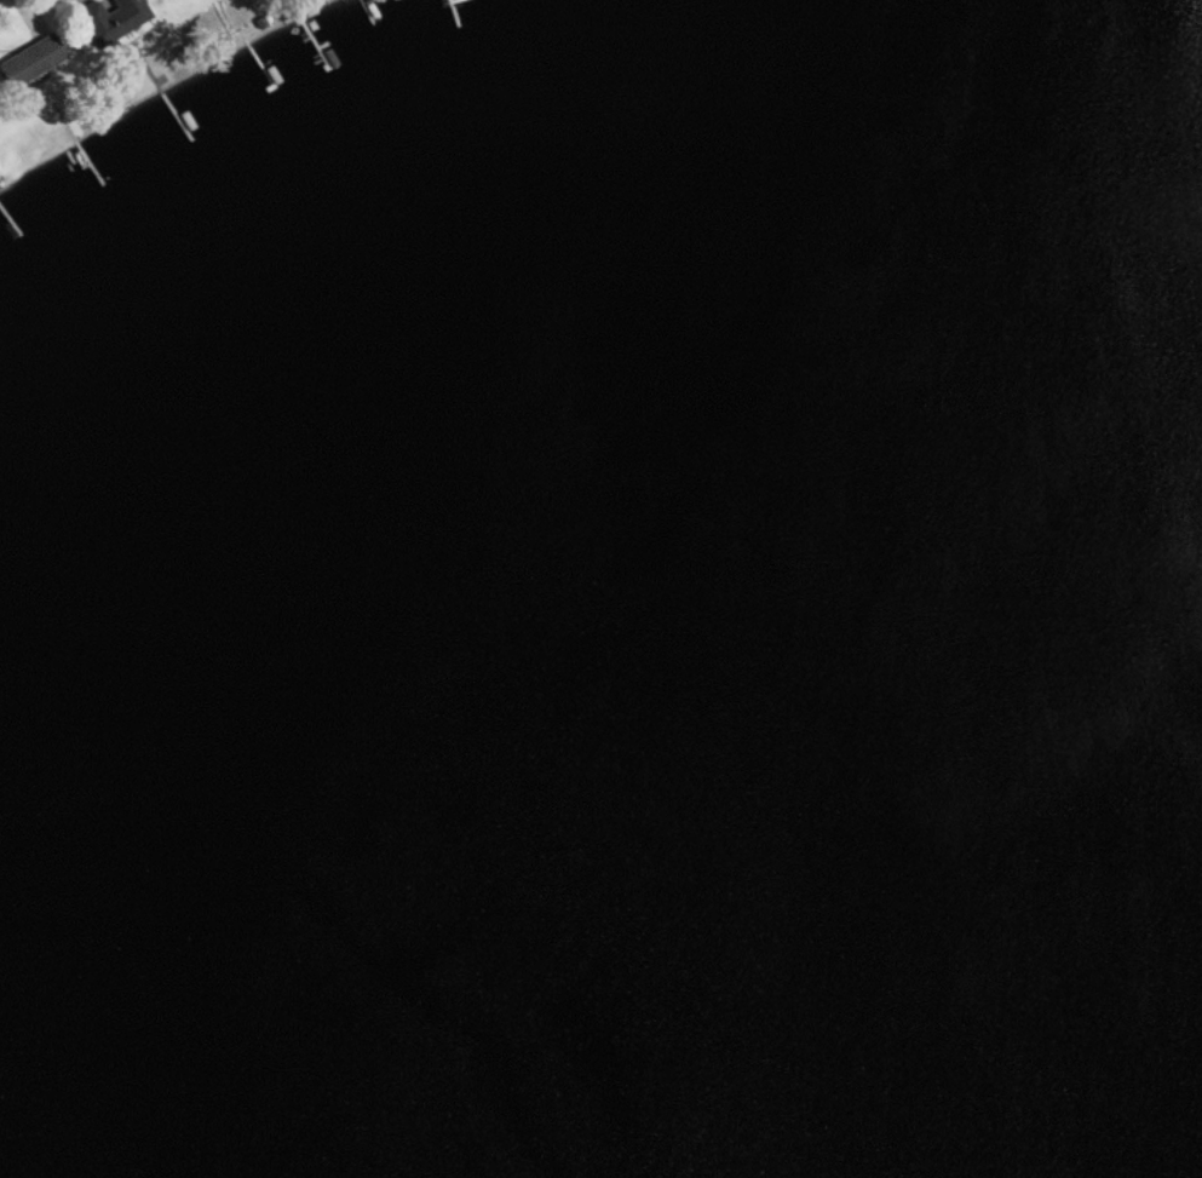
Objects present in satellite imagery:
building: (109, 19)
building: (29, 61)

